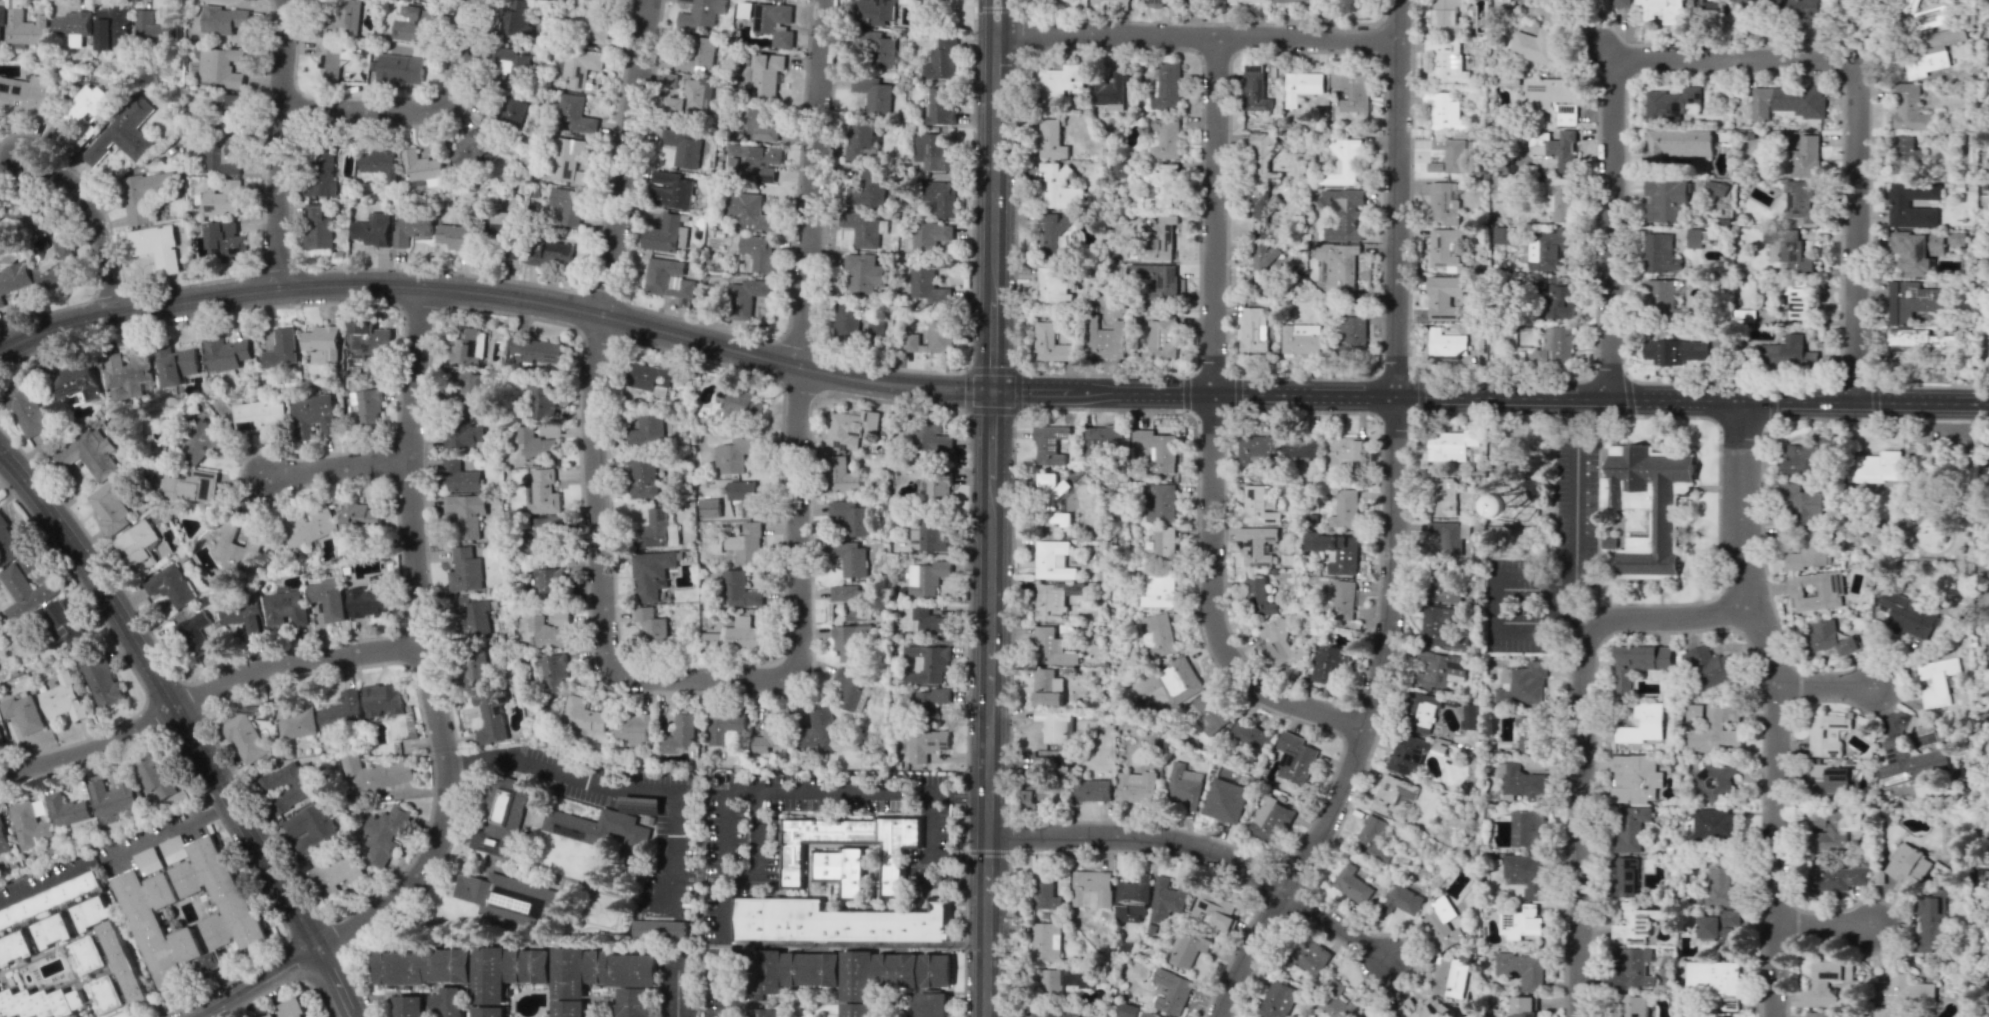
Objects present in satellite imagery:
building: (435, 0)
building: (1055, 0)
building: (1246, 1)
building: (1355, 1)
building: (1502, 2)
building: (1154, 3)
building: (1621, 3)
building: (1124, 4)
building: (1774, 5)
road: (954, 7)
road: (994, 9)
building: (1808, 9)
building: (1658, 10)
building: (873, 11)
park: (945, 13)
building: (1745, 13)
building: (700, 14)
building: (1707, 14)
road: (994, 16)
building: (2, 17)
building: (1445, 17)
building: (341, 18)
building: (516, 18)
building: (223, 19)
building: (594, 20)
building: (772, 22)
building: (413, 25)
building: (74, 26)
building: (25, 27)
building: (113, 28)
building: (152, 28)
road: (1194, 36)
building: (1534, 45)
building: (1939, 46)
building: (877, 48)
building: (696, 52)
building: (941, 60)
road: (1609, 60)
building: (329, 61)
building: (1444, 61)
road: (1736, 61)
building: (581, 66)
building: (220, 67)
building: (400, 68)
building: (511, 68)
building: (766, 73)
building: (1059, 82)
building: (1166, 86)
building: (1109, 90)
building: (1352, 90)
building: (1254, 91)
building: (872, 92)
building: (25, 94)
building: (1552, 96)
building: (692, 98)
building: (1672, 102)
building: (1787, 102)
building: (940, 105)
building: (1909, 108)
building: (228, 110)
street lamp: (461, 110)
building: (512, 111)
road: (416, 112)
building: (1446, 113)
building: (575, 114)
building: (81, 115)
building: (754, 125)
street lamp: (1230, 129)
building: (122, 134)
building: (1051, 139)
building: (1165, 139)
building: (861, 140)
road: (277, 143)
building: (1678, 143)
building: (471, 148)
building: (682, 148)
building: (1346, 149)
building: (1563, 150)
building: (932, 152)
building: (1452, 153)
building: (1906, 154)
building: (222, 155)
building: (566, 157)
building: (1806, 157)
road: (622, 158)
building: (1262, 160)
building: (759, 161)
building: (423, 162)
building: (380, 163)
building: (1119, 170)
building: (321, 173)
building: (1506, 183)
road: (810, 184)
building: (1162, 186)
building: (1059, 187)
building: (1715, 187)
building: (867, 189)
building: (670, 190)
building: (144, 194)
building: (940, 197)
building: (223, 199)
building: (1665, 201)
building: (1800, 201)
building: (1445, 202)
building: (1559, 202)
building: (1898, 203)
building: (568, 205)
road: (992, 212)
building: (1343, 212)
building: (2, 213)
building: (748, 213)
building: (1261, 216)
road: (94, 222)
building: (318, 228)
building: (411, 228)
building: (862, 228)
building: (372, 229)
building: (504, 232)
building: (1053, 233)
building: (930, 235)
building: (1504, 235)
building: (456, 236)
building: (1161, 237)
building: (1697, 238)
building: (1956, 239)
building: (226, 241)
building: (1445, 246)
building: (158, 247)
building: (1548, 248)
building: (1786, 249)
building: (1917, 251)
building: (550, 253)
building: (757, 253)
building: (1659, 253)
building: (60, 266)
building: (1264, 266)
building: (1337, 266)
building: (864, 273)
building: (668, 278)
building: (14, 279)
building: (1158, 281)
building: (1053, 285)
building: (928, 286)
building: (1659, 296)
building: (746, 297)
building: (1443, 297)
building: (1560, 297)
building: (1911, 300)
building: (1799, 303)
street lamp: (1195, 310)
building: (856, 324)
building: (1253, 330)
building: (1353, 334)
building: (938, 337)
building: (1301, 338)
building: (1106, 339)
building: (1162, 340)
building: (1920, 340)
building: (912, 342)
building: (1451, 342)
building: (322, 343)
building: (1049, 344)
building: (1562, 345)
building: (467, 347)
building: (281, 348)
building: (535, 351)
building: (1674, 351)
building: (225, 353)
building: (1786, 354)
building: (1536, 358)
building: (176, 364)
building: (128, 375)
building: (649, 378)
building: (79, 379)
building: (465, 385)
road: (984, 391)
traffic signals: (991, 392)
road: (1184, 392)
road: (1627, 394)
building: (541, 399)
road: (1772, 400)
road: (1872, 400)
building: (739, 403)
building: (369, 406)
building: (25, 409)
road: (1574, 413)
building: (261, 414)
building: (314, 415)
street lamp: (1849, 420)
road: (1211, 424)
building: (850, 428)
building: (462, 431)
building: (647, 432)
building: (1102, 439)
street lamp: (1715, 439)
building: (201, 441)
building: (927, 441)
building: (536, 443)
building: (1050, 443)
building: (1156, 445)
building: (1449, 445)
building: (1257, 448)
building: (1299, 448)
building: (1345, 451)
building: (89, 453)
building: (733, 454)
building: (1983, 454)
building: (1805, 457)
building: (1875, 467)
road: (336, 471)
building: (842, 475)
building: (459, 476)
building: (643, 477)
building: (189, 484)
building: (938, 487)
building: (543, 492)
building: (1442, 496)
building: (743, 498)
building: (1051, 499)
building: (1162, 502)
building: (1518, 503)
building: (1802, 503)
water tower: (1517, 505)
building: (1648, 505)
building: (110, 506)
building: (1258, 506)
building: (1345, 509)
building: (466, 513)
building: (360, 514)
building: (849, 518)
road: (1390, 526)
building: (308, 527)
building: (656, 530)
building: (928, 534)
building: (541, 535)
building: (1447, 536)
road: (1913, 540)
building: (745, 543)
building: (1164, 543)
building: (8, 544)
building: (1256, 544)
building: (137, 546)
building: (238, 546)
building: (1810, 550)
building: (1336, 551)
building: (850, 558)
building: (1052, 560)
parking lot: (1546, 560)
building: (465, 570)
building: (1987, 570)
building: (651, 574)
building: (927, 577)
building: (549, 581)
building: (1443, 583)
building: (170, 585)
building: (1159, 589)
building: (738, 590)
building: (1816, 591)
building: (24, 592)
building: (846, 596)
building: (1259, 597)
building: (328, 598)
building: (369, 599)
building: (1343, 599)
building: (1051, 600)
building: (286, 609)
building: (244, 614)
building: (472, 615)
building: (1907, 615)
building: (561, 618)
building: (65, 622)
road: (1550, 622)
building: (928, 623)
building: (1436, 624)
building: (651, 625)
building: (195, 633)
building: (550, 635)
building: (1158, 635)
building: (1828, 637)
building: (849, 641)
building: (1048, 645)
road: (418, 649)
building: (927, 663)
building: (1637, 664)
building: (1328, 665)
building: (1710, 666)
road: (296, 667)
building: (477, 668)
building: (1437, 670)
building: (553, 672)
road: (675, 675)
building: (1180, 679)
building: (102, 680)
building: (1937, 680)
building: (1523, 684)
road: (1828, 685)
building: (1047, 688)
building: (852, 690)
building: (63, 698)
building: (383, 699)
building: (930, 701)
road: (987, 704)
road: (1776, 706)
building: (342, 711)
building: (1420, 712)
building: (23, 713)
building: (1208, 713)
building: (583, 714)
building: (491, 716)
building: (1469, 716)
street lamp: (1282, 718)
building: (295, 719)
road: (189, 724)
building: (1643, 724)
building: (1053, 725)
building: (724, 727)
building: (636, 728)
building: (768, 731)
building: (819, 732)
building: (1530, 732)
building: (679, 733)
building: (1712, 733)
building: (1826, 734)
building: (1249, 736)
building: (0, 737)
building: (245, 738)
road: (1582, 743)
building: (926, 744)
road: (90, 745)
building: (1407, 754)
building: (1295, 757)
road: (475, 760)
building: (1908, 762)
building: (376, 776)
building: (159, 779)
building: (1634, 779)
building: (1830, 779)
building: (1714, 780)
building: (1523, 782)
building: (289, 785)
building: (1185, 785)
road: (650, 787)
building: (1136, 787)
road: (872, 789)
road: (960, 789)
building: (1091, 790)
building: (1393, 794)
building: (112, 797)
building: (1225, 800)
building: (39, 807)
building: (66, 810)
building: (503, 817)
building: (1271, 820)
road: (166, 823)
building: (1714, 823)
building: (29, 824)
building: (1629, 828)
building: (311, 829)
building: (1531, 829)
building: (1828, 830)
building: (603, 831)
building: (385, 834)
building: (1370, 835)
building: (4, 838)
park: (1951, 839)
road: (699, 846)
road: (1199, 850)
building: (893, 856)
road: (722, 859)
building: (842, 865)
building: (1907, 865)
road: (754, 872)
building: (337, 874)
building: (1526, 874)
road: (45, 876)
road: (960, 876)
building: (1625, 876)
building: (1836, 878)
building: (1352, 883)
building: (1721, 884)
building: (1091, 886)
building: (222, 892)
building: (1043, 892)
building: (51, 898)
building: (1166, 898)
building: (512, 899)
building: (1403, 899)
building: (1131, 900)
building: (1212, 909)
building: (94, 910)
building: (835, 917)
building: (1636, 921)
building: (1519, 922)
building: (1931, 922)
building: (159, 924)
building: (1442, 924)
road: (1823, 927)
building: (659, 928)
building: (54, 930)
building: (1720, 931)
building: (1045, 941)
building: (16, 948)
building: (1187, 949)
street lamp: (1345, 950)
building: (93, 952)
building: (1311, 956)
building: (124, 959)
building: (424, 965)
building: (530, 966)
building: (624, 967)
building: (813, 967)
building: (898, 967)
building: (937, 968)
building: (1631, 968)
road: (141, 969)
building: (766, 969)
building: (1521, 969)
building: (569, 974)
building: (859, 974)
building: (490, 976)
building: (1450, 976)
building: (1711, 977)
building: (1049, 981)
road: (257, 983)
building: (1825, 983)
road: (674, 986)
road: (721, 986)
building: (1903, 990)
building: (1171, 992)
building: (108, 993)
building: (1278, 999)
building: (1335, 1000)
building: (41, 1002)
building: (446, 1002)
building: (636, 1002)
building: (936, 1004)
building: (1632, 1005)
building: (410, 1006)
building: (1522, 1006)
building: (297, 1008)
building: (1420, 1008)
building: (569, 1009)
building: (858, 1009)
building: (1127, 1010)
building: (490, 1012)
building: (766, 1012)
building: (1054, 1012)
building: (1817, 1013)
building: (276, 1015)
building: (1144, 1016)
building: (1385, 1016)
building: (1532, 1016)
building: (1642, 1016)
building: (1716, 1016)

